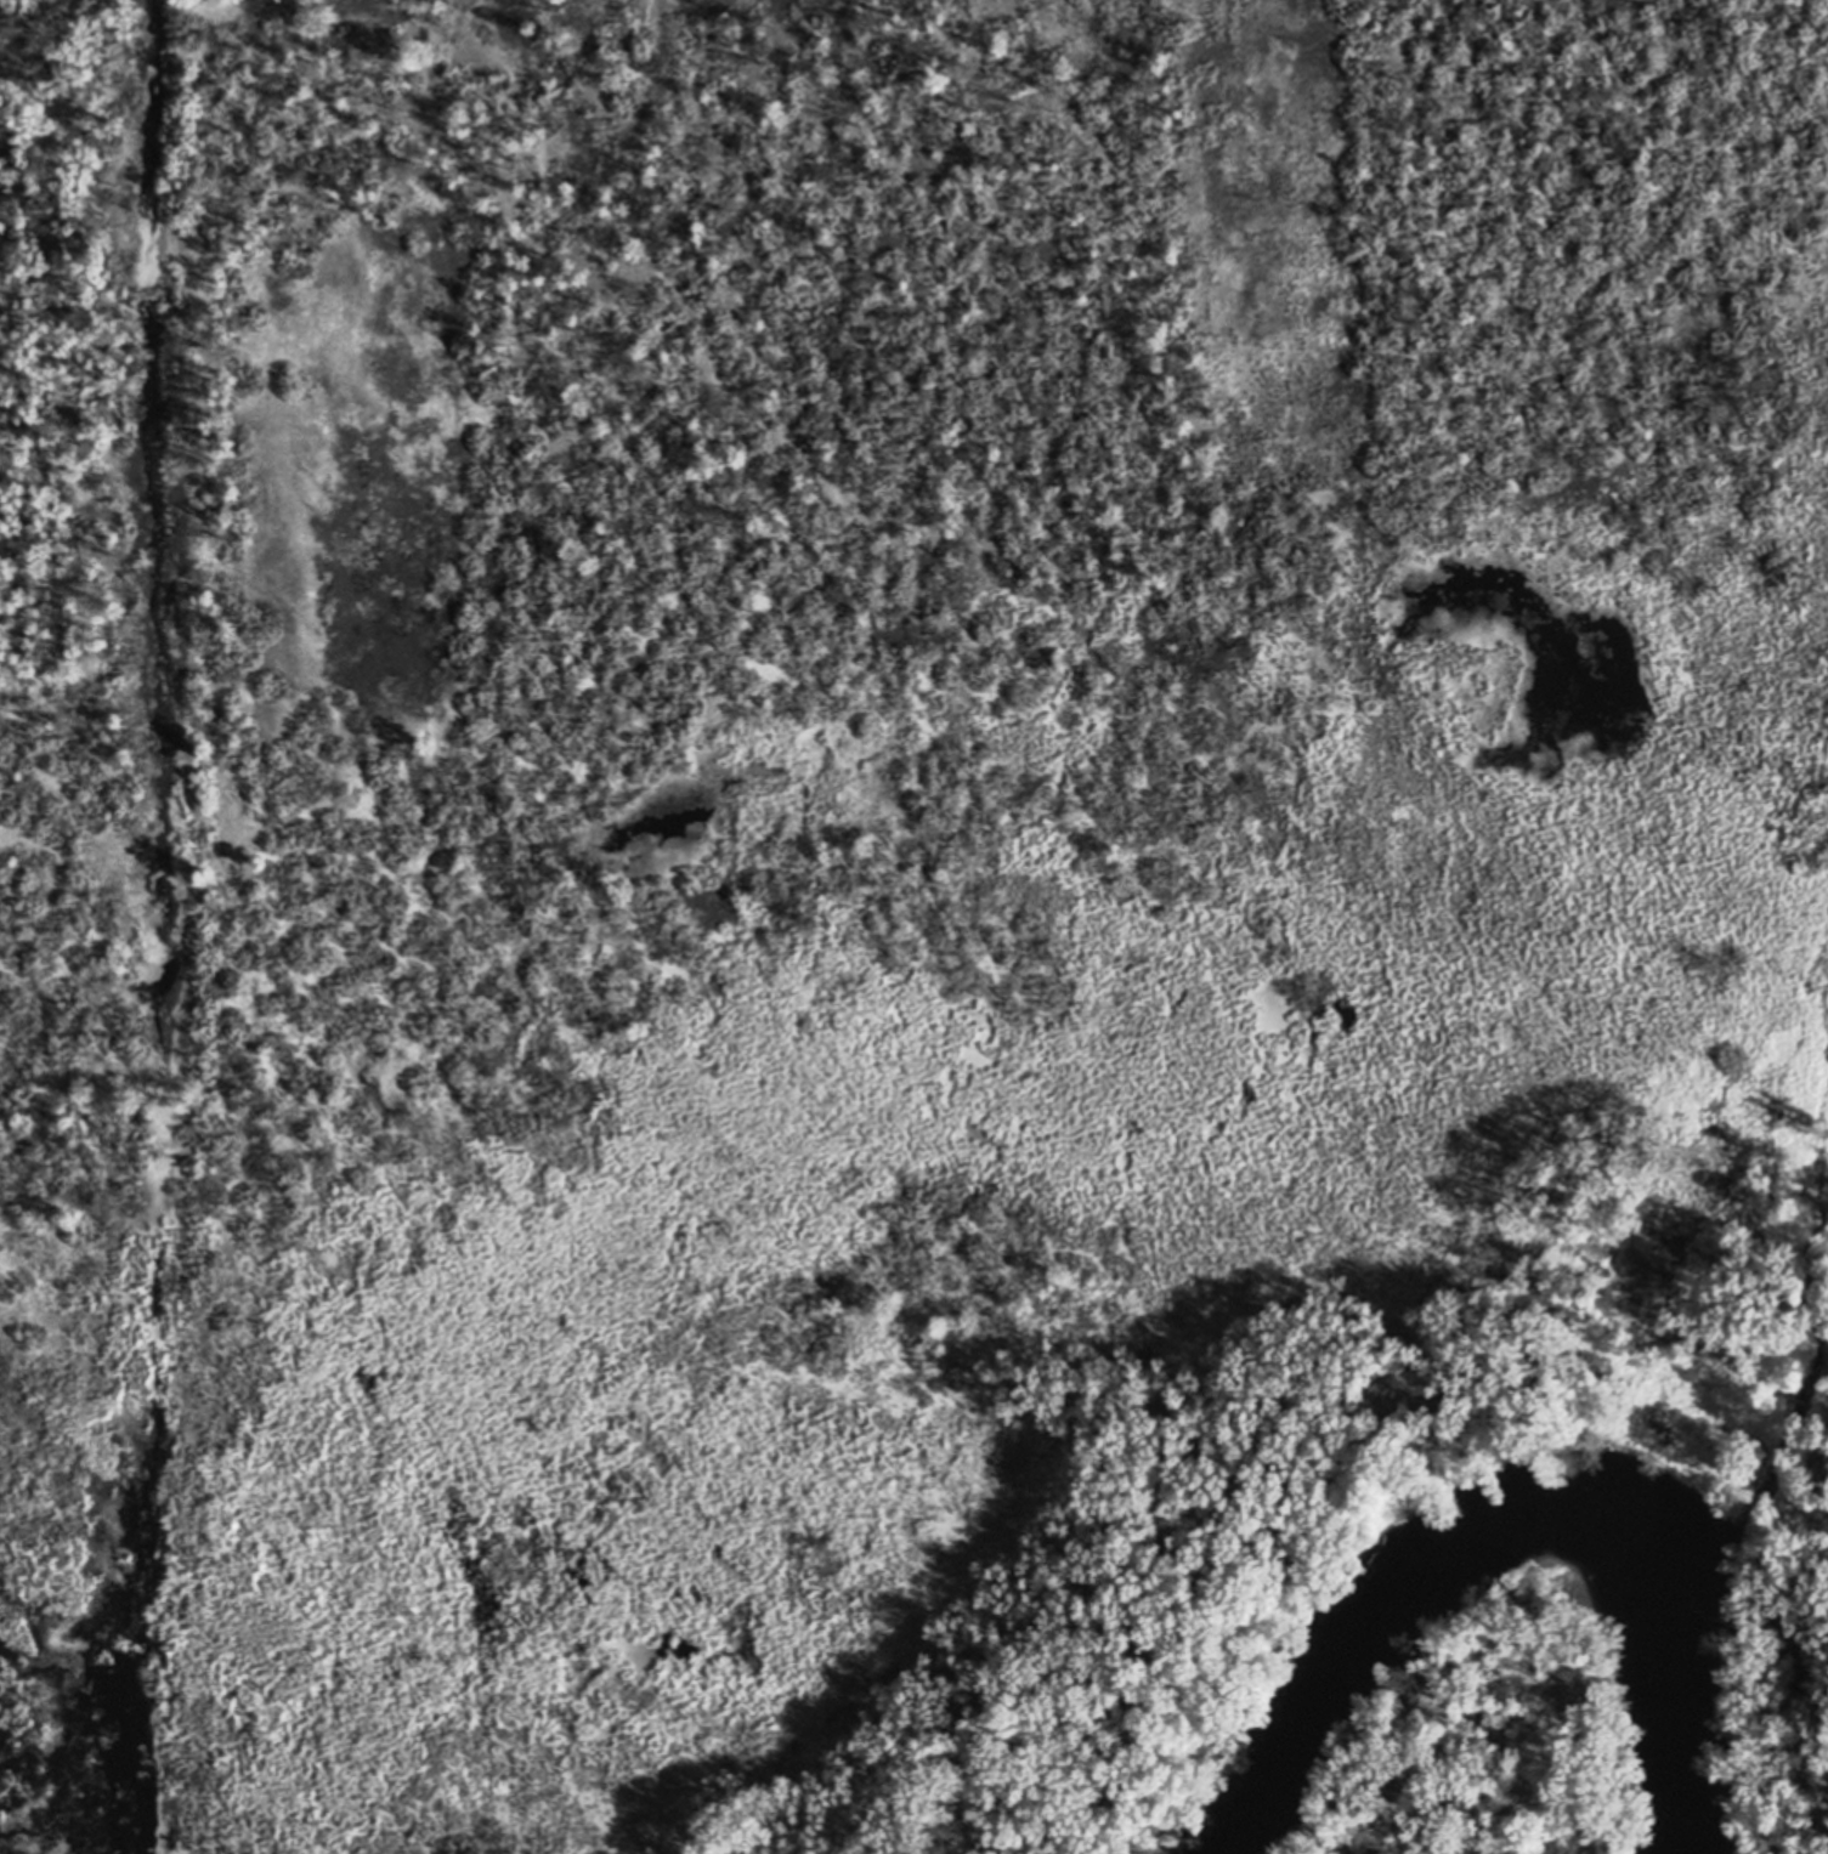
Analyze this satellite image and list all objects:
building: (1590, 1355)
river: (1521, 1536)

